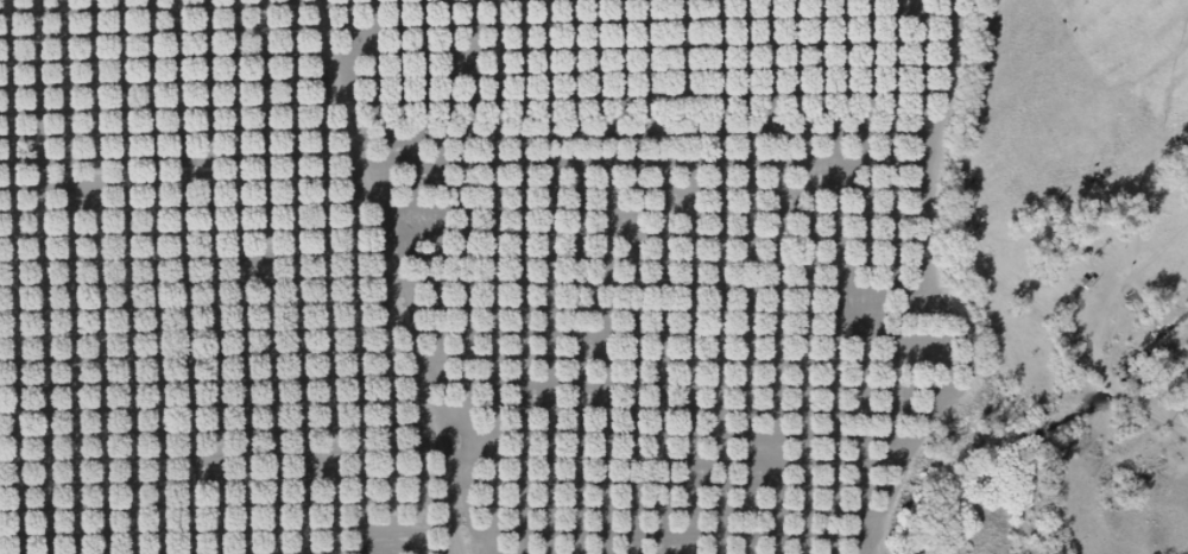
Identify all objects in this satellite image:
road: (764, 264)

